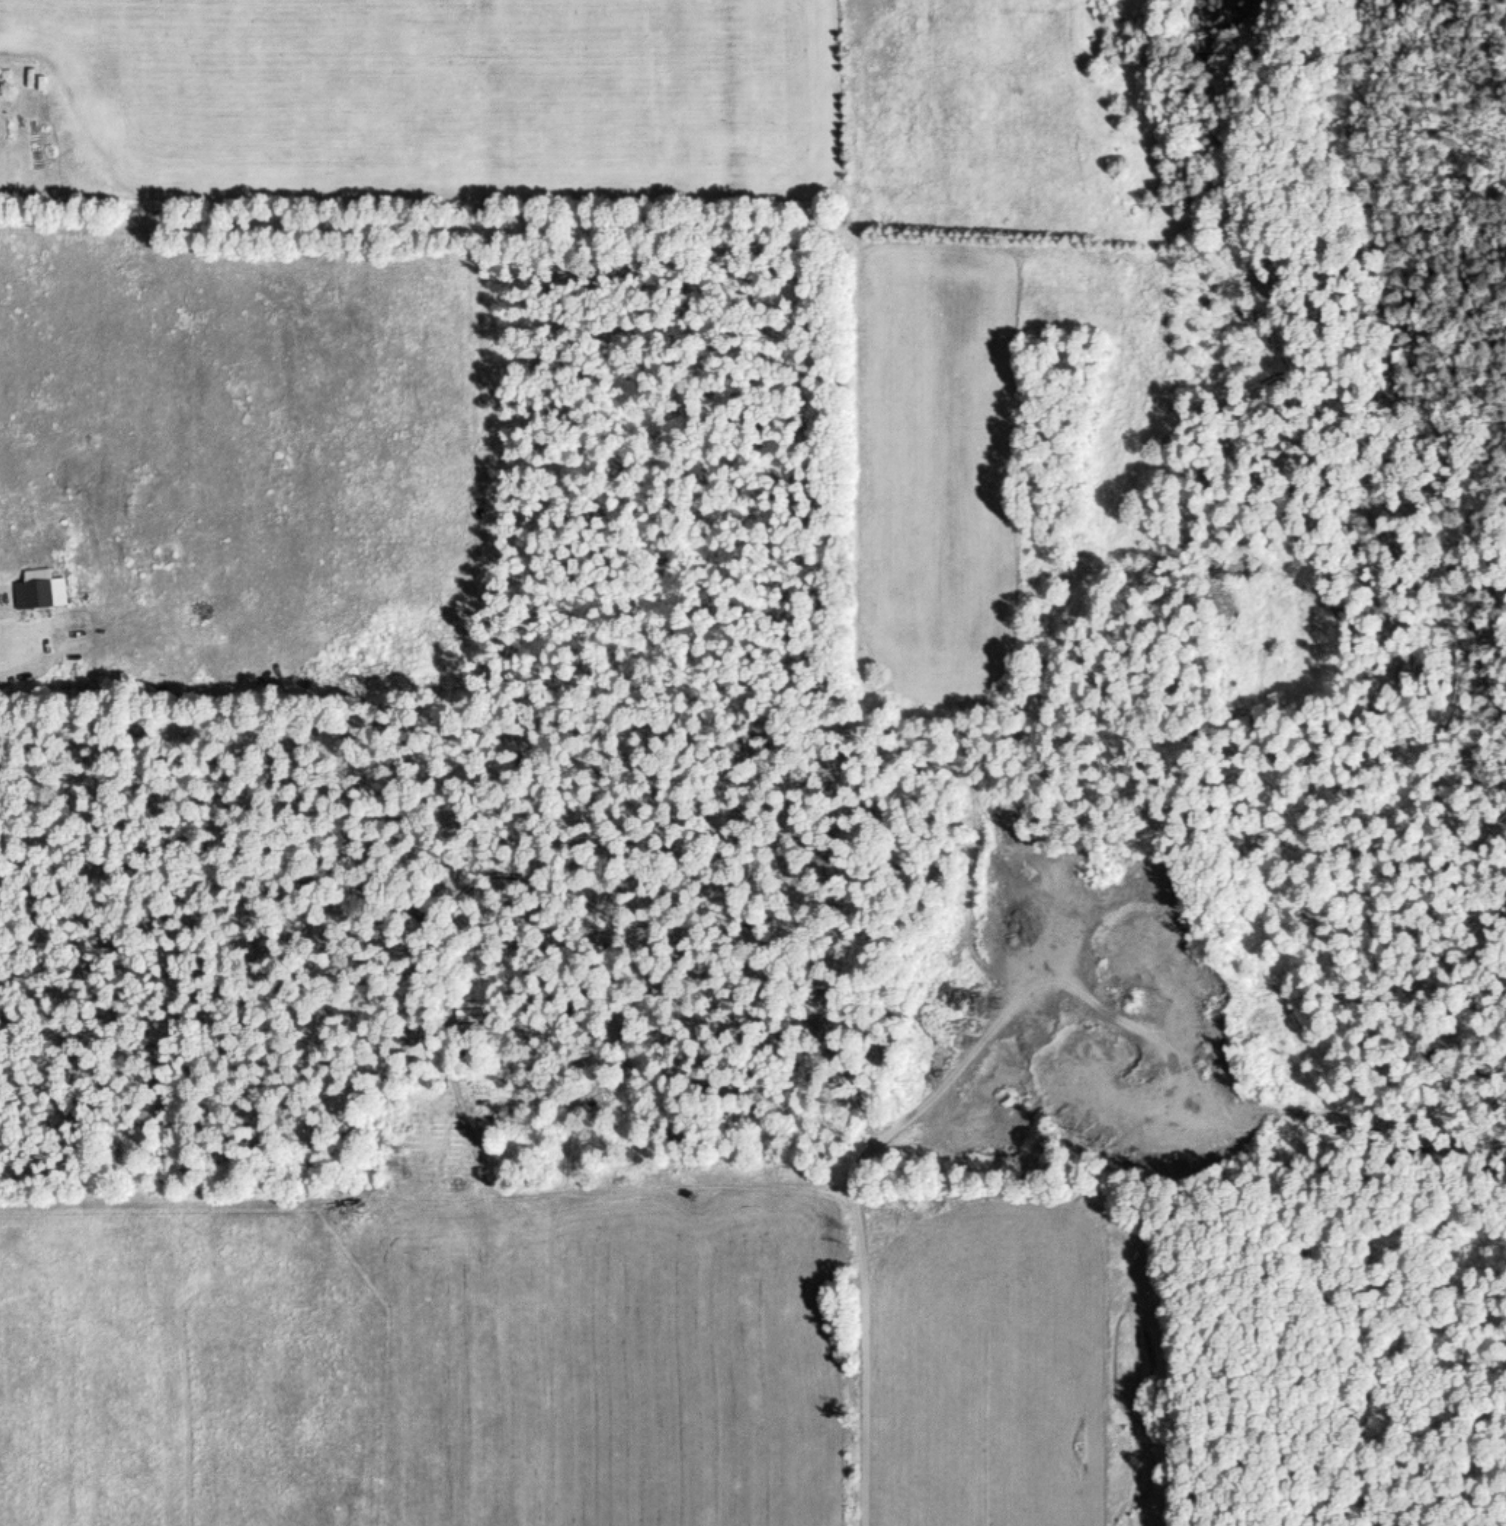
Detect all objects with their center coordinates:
building: (40, 592)

